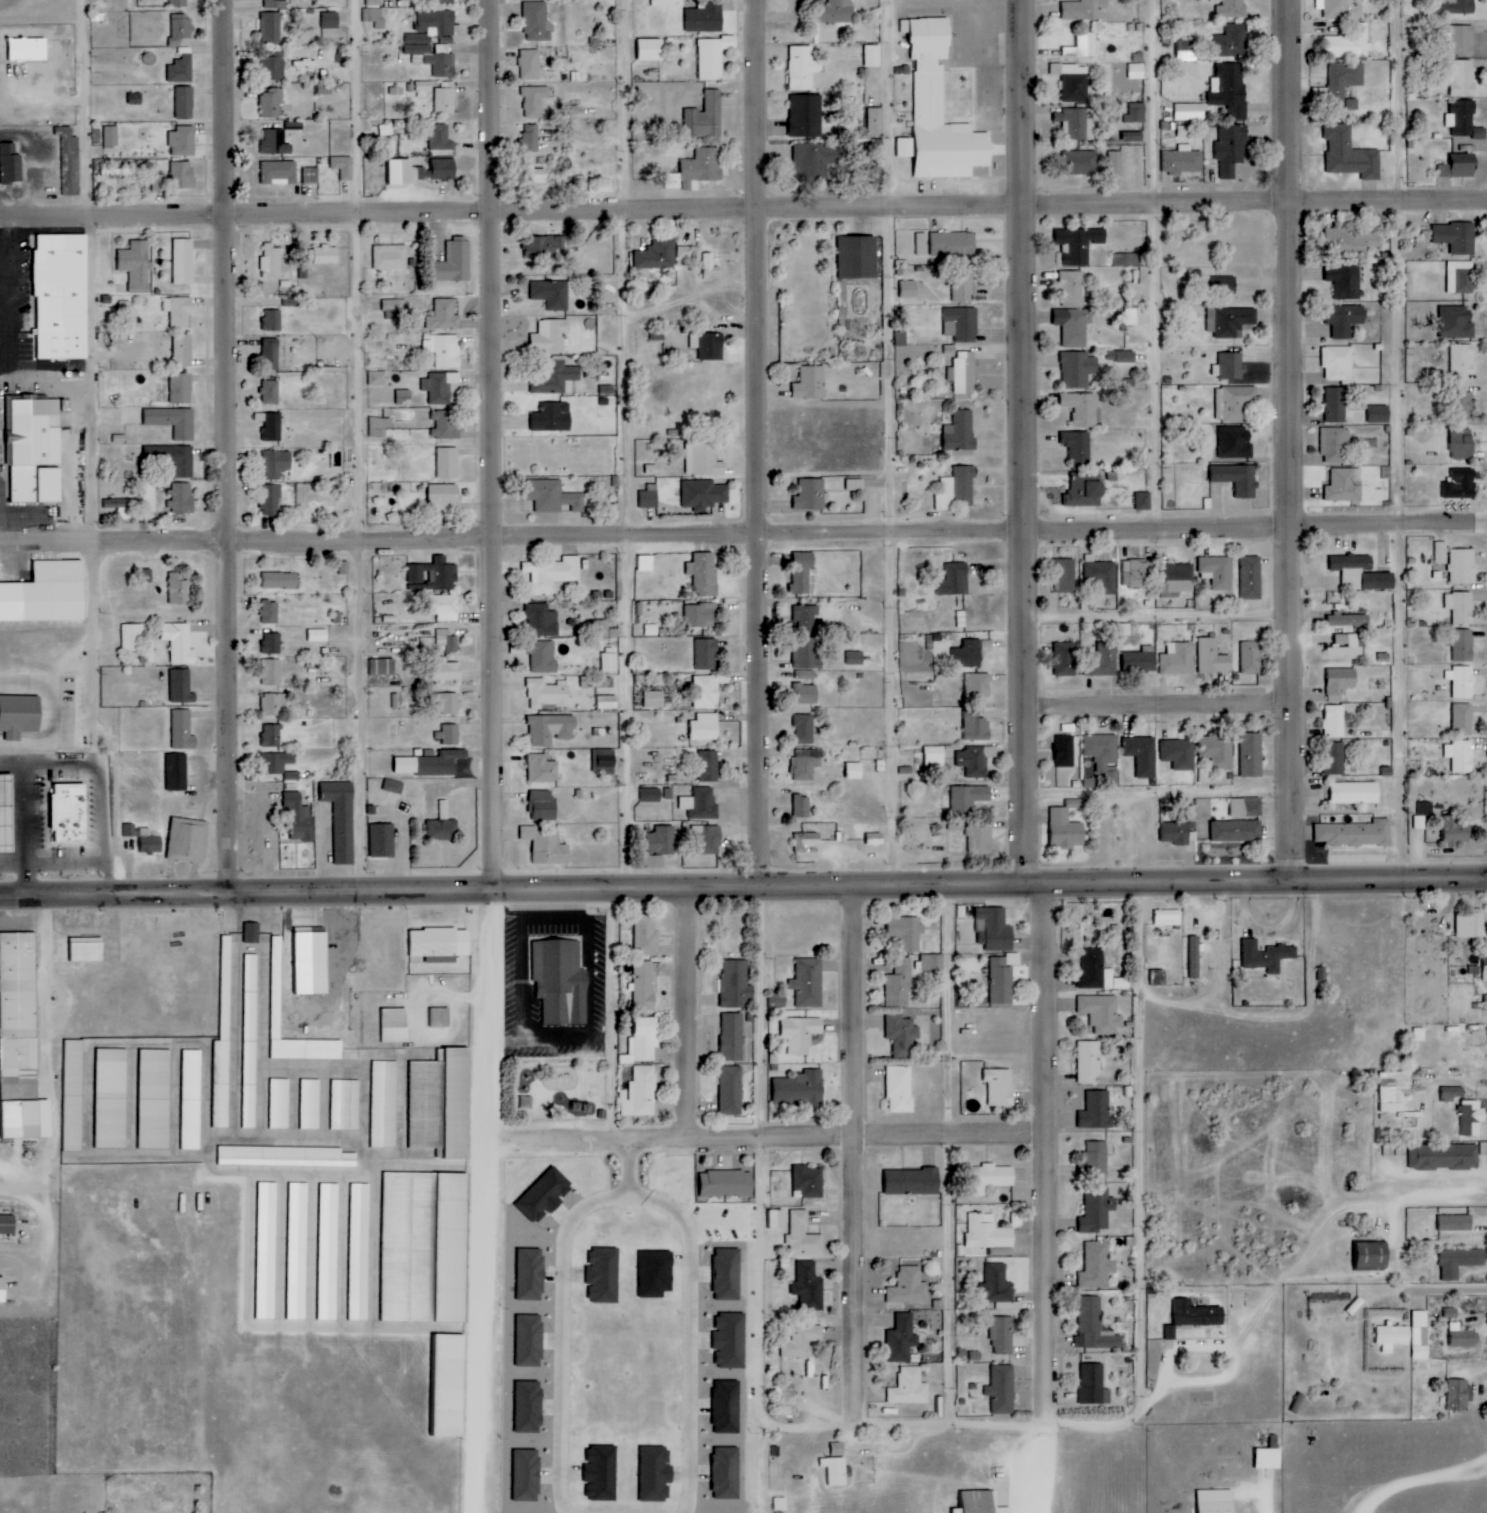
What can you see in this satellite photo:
building: (440, 0)
building: (178, 3)
building: (374, 3)
building: (662, 3)
building: (274, 4)
building: (1455, 7)
building: (1232, 9)
building: (1341, 9)
building: (1084, 10)
building: (839, 11)
building: (373, 17)
building: (705, 18)
building: (330, 21)
building: (537, 22)
building: (437, 23)
building: (271, 28)
building: (180, 29)
building: (1461, 39)
building: (1232, 42)
building: (1349, 44)
building: (1083, 47)
building: (650, 50)
building: (1187, 51)
building: (430, 56)
building: (873, 56)
building: (713, 57)
building: (529, 65)
building: (802, 68)
building: (181, 69)
building: (272, 69)
building: (1136, 71)
building: (1463, 78)
building: (1075, 84)
building: (1345, 84)
building: (1229, 89)
building: (324, 90)
building: (423, 90)
building: (1320, 96)
building: (445, 101)
building: (534, 101)
building: (184, 103)
building: (271, 103)
building: (938, 110)
building: (1189, 112)
building: (1136, 113)
building: (805, 116)
building: (705, 117)
building: (1461, 118)
building: (875, 122)
building: (1078, 123)
building: (294, 126)
building: (1135, 130)
building: (110, 136)
building: (440, 138)
building: (531, 138)
building: (182, 142)
building: (275, 143)
building: (1232, 148)
building: (875, 151)
building: (1351, 154)
building: (812, 158)
building: (69, 161)
building: (1183, 161)
building: (1080, 163)
building: (1115, 163)
building: (1460, 164)
building: (10, 166)
building: (113, 167)
building: (343, 167)
building: (444, 169)
building: (696, 170)
building: (400, 172)
building: (278, 173)
building: (424, 174)
building: (182, 175)
building: (534, 175)
building: (310, 176)
building: (159, 184)
building: (580, 185)
building: (600, 187)
road: (1253, 204)
road: (510, 214)
building: (1456, 236)
building: (921, 243)
building: (1350, 243)
building: (953, 244)
building: (1079, 244)
building: (544, 246)
building: (687, 252)
building: (325, 255)
building: (657, 255)
building: (389, 257)
building: (858, 257)
building: (1127, 260)
building: (183, 261)
building: (271, 261)
building: (455, 262)
road: (1165, 265)
building: (136, 266)
building: (710, 266)
building: (1461, 277)
building: (1345, 281)
building: (964, 284)
building: (909, 289)
building: (1073, 289)
building: (554, 293)
building: (62, 296)
building: (391, 309)
building: (179, 311)
building: (443, 316)
building: (1136, 316)
building: (1344, 319)
building: (272, 320)
building: (1230, 321)
building: (857, 322)
building: (1457, 322)
building: (961, 324)
building: (1074, 326)
building: (657, 334)
building: (550, 336)
building: (901, 338)
building: (694, 340)
building: (711, 346)
building: (443, 349)
building: (183, 350)
building: (271, 354)
building: (1122, 356)
building: (1463, 361)
building: (1338, 364)
building: (1230, 366)
building: (1078, 369)
building: (963, 373)
building: (554, 377)
building: (377, 378)
building: (810, 383)
building: (440, 387)
building: (181, 388)
building: (270, 392)
building: (403, 397)
building: (1234, 402)
building: (1335, 404)
building: (1463, 405)
building: (1083, 408)
building: (1380, 414)
building: (553, 417)
building: (173, 421)
building: (445, 425)
building: (271, 426)
building: (379, 426)
building: (960, 432)
road: (1297, 441)
road: (1407, 441)
building: (1235, 442)
road: (1021, 443)
building: (1462, 443)
road: (897, 444)
building: (1334, 444)
road: (633, 445)
road: (764, 445)
road: (356, 446)
road: (232, 448)
building: (1078, 448)
building: (34, 450)
road: (90, 450)
building: (175, 459)
building: (704, 459)
building: (447, 462)
building: (275, 464)
building: (1238, 478)
building: (1461, 484)
building: (855, 485)
building: (1344, 485)
building: (957, 489)
building: (1084, 492)
building: (704, 494)
building: (444, 495)
building: (810, 495)
building: (551, 496)
building: (148, 497)
building: (649, 497)
building: (181, 498)
building: (271, 500)
building: (1144, 501)
building: (120, 504)
road: (1254, 530)
road: (511, 541)
building: (1441, 552)
building: (1351, 562)
building: (645, 563)
building: (1463, 566)
building: (344, 568)
building: (802, 571)
building: (1217, 571)
building: (1139, 573)
building: (552, 574)
building: (704, 574)
building: (1100, 575)
building: (1065, 576)
building: (1251, 577)
building: (955, 580)
building: (1177, 580)
building: (280, 581)
building: (1378, 581)
building: (179, 590)
building: (46, 594)
building: (444, 607)
building: (1461, 607)
building: (269, 613)
building: (701, 615)
road: (1160, 615)
building: (806, 618)
building: (1349, 620)
building: (543, 621)
building: (652, 630)
building: (317, 635)
building: (132, 638)
building: (179, 642)
building: (447, 642)
building: (272, 643)
building: (1463, 645)
building: (1347, 646)
building: (707, 654)
building: (806, 654)
building: (968, 654)
building: (543, 657)
building: (1212, 657)
building: (1252, 657)
building: (856, 658)
building: (1065, 659)
building: (1178, 659)
building: (1102, 660)
building: (1140, 660)
building: (608, 662)
building: (381, 667)
building: (446, 670)
building: (271, 672)
building: (1461, 682)
building: (1340, 683)
building: (977, 685)
building: (181, 687)
building: (706, 691)
building: (547, 694)
building: (806, 695)
building: (654, 700)
building: (607, 702)
building: (448, 703)
road: (1161, 704)
building: (273, 705)
building: (19, 716)
building: (1463, 720)
building: (1334, 721)
building: (705, 727)
building: (551, 729)
building: (804, 729)
building: (978, 729)
building: (182, 731)
building: (449, 734)
building: (271, 736)
building: (1101, 750)
building: (1065, 751)
building: (1217, 751)
building: (1179, 754)
building: (1142, 755)
building: (1252, 755)
road: (501, 756)
building: (1460, 756)
building: (934, 757)
building: (1334, 759)
building: (977, 761)
building: (276, 762)
building: (604, 762)
building: (430, 764)
building: (807, 764)
building: (709, 766)
building: (543, 769)
building: (854, 771)
building: (176, 772)
building: (292, 776)
building: (393, 786)
building: (1355, 793)
road: (1161, 794)
building: (651, 795)
building: (970, 798)
building: (701, 804)
building: (543, 805)
building: (802, 805)
building: (1246, 807)
building: (443, 811)
building: (70, 813)
building: (7, 814)
building: (1423, 814)
building: (299, 818)
building: (342, 819)
building: (956, 824)
building: (1181, 828)
building: (442, 830)
building: (1066, 830)
building: (129, 831)
building: (1236, 831)
building: (1458, 831)
building: (1354, 834)
building: (874, 839)
building: (662, 840)
building: (706, 840)
building: (979, 840)
building: (187, 841)
building: (382, 841)
building: (805, 841)
building: (150, 842)
building: (546, 846)
building: (655, 862)
road: (1254, 883)
road: (511, 892)
building: (1167, 918)
building: (1470, 925)
building: (994, 929)
building: (906, 932)
building: (252, 933)
building: (646, 936)
building: (439, 944)
building: (87, 950)
building: (1267, 956)
building: (1194, 957)
building: (932, 962)
building: (311, 964)
building: (226, 969)
building: (1484, 970)
building: (276, 971)
building: (1098, 972)
building: (1158, 978)
building: (251, 980)
building: (561, 982)
building: (645, 982)
building: (808, 982)
building: (1001, 982)
building: (900, 983)
building: (736, 984)
building: (778, 1000)
building: (1485, 1001)
building: (1103, 1013)
road: (684, 1016)
road: (608, 1017)
building: (439, 1018)
building: (395, 1026)
building: (902, 1033)
building: (800, 1034)
building: (732, 1037)
building: (20, 1041)
building: (643, 1041)
building: (307, 1050)
building: (1089, 1062)
road: (59, 1068)
building: (250, 1073)
building: (220, 1084)
building: (1000, 1087)
building: (800, 1089)
building: (900, 1089)
building: (731, 1091)
building: (1394, 1091)
building: (639, 1093)
building: (1452, 1093)
building: (73, 1096)
building: (110, 1099)
building: (154, 1100)
building: (191, 1100)
building: (279, 1104)
building: (310, 1104)
building: (441, 1104)
building: (345, 1105)
building: (384, 1105)
building: (1097, 1111)
building: (1471, 1118)
road: (772, 1137)
road: (1137, 1140)
road: (1044, 1154)
road: (759, 1155)
building: (286, 1157)
road: (854, 1157)
road: (947, 1157)
building: (1445, 1157)
building: (1095, 1160)
road: (630, 1169)
building: (991, 1178)
building: (808, 1182)
building: (913, 1182)
building: (726, 1184)
building: (544, 1195)
building: (1097, 1210)
building: (777, 1219)
building: (1456, 1223)
building: (7, 1225)
building: (989, 1235)
building: (803, 1236)
building: (425, 1248)
building: (266, 1251)
building: (297, 1251)
building: (328, 1252)
building: (359, 1253)
building: (1371, 1256)
building: (1460, 1262)
building: (1097, 1266)
building: (656, 1274)
building: (531, 1275)
building: (727, 1275)
building: (604, 1276)
building: (998, 1284)
building: (809, 1287)
road: (1429, 1287)
building: (909, 1288)
building: (3, 1291)
building: (1198, 1315)
building: (1094, 1327)
road: (562, 1333)
building: (1171, 1333)
road: (691, 1335)
building: (1420, 1335)
building: (1002, 1336)
building: (1392, 1337)
building: (1462, 1337)
building: (902, 1339)
building: (530, 1341)
building: (731, 1341)
building: (802, 1341)
building: (450, 1386)
building: (1094, 1386)
building: (909, 1388)
building: (1002, 1390)
building: (1459, 1395)
building: (786, 1400)
building: (529, 1407)
building: (939, 1407)
building: (727, 1408)
road: (957, 1424)
building: (1269, 1459)
building: (836, 1471)
building: (602, 1474)
building: (726, 1474)
building: (656, 1475)
building: (526, 1476)
road: (1266, 1500)
building: (1217, 1501)
building: (980, 1503)

